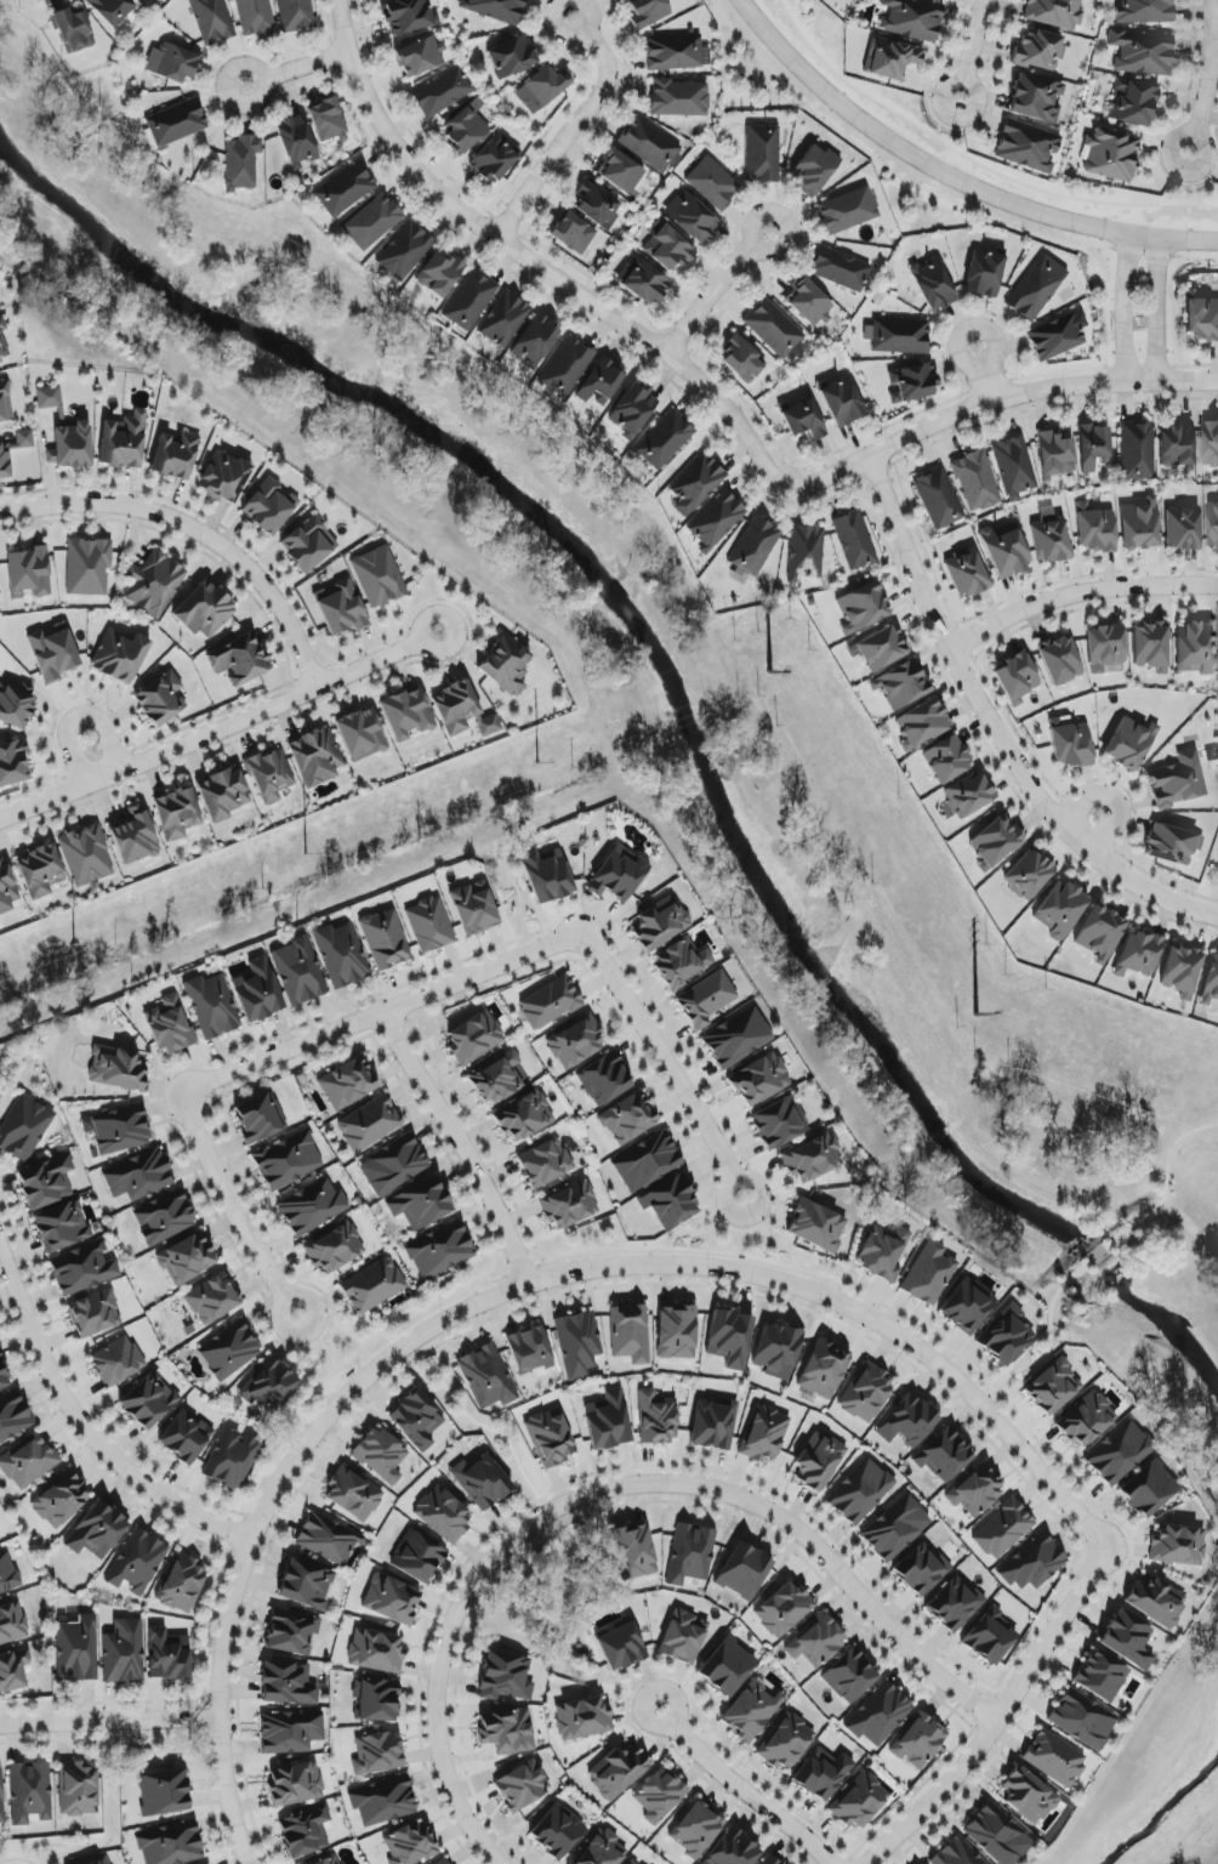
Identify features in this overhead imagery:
building: (943, 0)
building: (112, 10)
building: (497, 10)
building: (1144, 11)
building: (648, 12)
building: (1053, 13)
building: (295, 15)
building: (408, 16)
building: (255, 17)
building: (912, 18)
building: (211, 21)
building: (73, 29)
road: (974, 45)
building: (1037, 50)
building: (1143, 52)
building: (676, 53)
building: (420, 57)
building: (512, 57)
building: (890, 58)
building: (172, 62)
road: (297, 67)
road: (1207, 78)
building: (542, 89)
building: (442, 92)
building: (679, 98)
building: (1036, 98)
building: (1134, 103)
building: (328, 120)
building: (176, 123)
road: (571, 127)
building: (465, 129)
building: (296, 141)
building: (649, 144)
building: (1028, 146)
building: (762, 153)
building: (1110, 154)
building: (494, 158)
building: (241, 163)
building: (814, 170)
building: (620, 172)
road: (951, 177)
building: (713, 183)
building: (345, 189)
building: (596, 205)
building: (847, 211)
building: (693, 218)
building: (371, 222)
building: (573, 233)
building: (671, 249)
building: (404, 250)
road: (537, 263)
building: (839, 269)
building: (985, 273)
building: (438, 274)
building: (645, 283)
building: (933, 285)
building: (1037, 289)
road: (718, 290)
building: (468, 300)
building: (809, 303)
road: (1129, 312)
road: (1157, 312)
building: (1202, 319)
building: (774, 329)
building: (897, 336)
building: (1057, 337)
building: (535, 340)
building: (2, 342)
building: (742, 360)
road: (981, 375)
building: (911, 383)
building: (49, 397)
road: (998, 398)
building: (5, 403)
building: (842, 403)
building: (634, 413)
building: (803, 420)
building: (24, 439)
building: (123, 441)
building: (664, 441)
building: (1210, 444)
building: (73, 445)
building: (1177, 445)
building: (1093, 447)
building: (1137, 449)
building: (175, 455)
building: (1055, 455)
building: (5, 461)
building: (1014, 467)
building: (224, 478)
building: (975, 481)
building: (696, 485)
building: (938, 499)
building: (269, 506)
building: (717, 519)
building: (1212, 524)
building: (1140, 525)
building: (1183, 527)
road: (197, 530)
building: (1095, 530)
building: (854, 540)
building: (1051, 540)
building: (308, 545)
building: (755, 546)
building: (1004, 551)
building: (806, 552)
building: (87, 567)
building: (29, 572)
building: (967, 574)
building: (379, 576)
building: (153, 584)
road: (1078, 595)
building: (863, 608)
building: (205, 609)
building: (342, 609)
building: (1150, 646)
building: (881, 648)
building: (1104, 648)
building: (1194, 648)
building: (53, 654)
building: (119, 655)
building: (239, 660)
building: (1060, 660)
building: (506, 666)
power tower: (769, 675)
building: (1017, 676)
building: (901, 684)
building: (161, 699)
building: (15, 701)
building: (462, 711)
building: (406, 714)
road: (80, 718)
building: (922, 723)
road: (996, 728)
road: (217, 731)
building: (362, 734)
building: (1070, 744)
building: (1132, 744)
building: (315, 756)
building: (947, 760)
building: (13, 763)
power tower: (536, 768)
building: (271, 775)
building: (1178, 780)
building: (223, 792)
building: (968, 795)
road: (1112, 800)
building: (177, 813)
building: (135, 836)
building: (995, 842)
building: (1172, 845)
building: (86, 854)
power tower: (304, 858)
building: (40, 870)
building: (619, 874)
building: (546, 875)
building: (1028, 875)
building: (6, 888)
building: (473, 908)
building: (1060, 909)
building: (660, 922)
building: (429, 925)
building: (1100, 933)
building: (385, 939)
power tower: (74, 947)
building: (1138, 954)
building: (341, 955)
building: (681, 962)
building: (1182, 970)
building: (298, 972)
building: (1211, 983)
building: (257, 990)
building: (706, 1000)
building: (550, 1004)
building: (211, 1006)
road: (383, 1011)
power tower: (974, 1018)
building: (169, 1027)
building: (474, 1038)
building: (736, 1038)
building: (575, 1042)
road: (667, 1064)
building: (116, 1068)
building: (499, 1079)
building: (604, 1080)
building: (758, 1080)
building: (347, 1084)
building: (524, 1116)
building: (260, 1118)
building: (628, 1119)
building: (779, 1123)
building: (369, 1124)
building: (23, 1127)
building: (120, 1130)
road: (462, 1143)
building: (812, 1158)
building: (288, 1160)
building: (647, 1161)
building: (545, 1163)
building: (393, 1165)
building: (138, 1176)
building: (45, 1181)
road: (241, 1201)
building: (670, 1203)
building: (420, 1204)
building: (569, 1205)
building: (312, 1207)
building: (164, 1217)
building: (62, 1226)
building: (816, 1226)
road: (711, 1231)
building: (334, 1248)
building: (439, 1251)
building: (883, 1252)
building: (186, 1258)
building: (82, 1268)
building: (928, 1274)
building: (372, 1286)
road: (507, 1290)
building: (212, 1298)
building: (967, 1306)
building: (95, 1313)
building: (676, 1332)
building: (630, 1334)
building: (1004, 1336)
building: (729, 1337)
building: (577, 1342)
building: (229, 1351)
building: (529, 1351)
building: (778, 1351)
building: (116, 1362)
building: (823, 1369)
building: (2, 1377)
building: (486, 1377)
building: (268, 1386)
building: (1053, 1387)
building: (865, 1393)
building: (148, 1400)
building: (13, 1416)
building: (656, 1419)
building: (417, 1420)
building: (1086, 1420)
building: (608, 1421)
building: (907, 1422)
building: (715, 1423)
road: (82, 1425)
road: (479, 1426)
building: (764, 1434)
building: (186, 1437)
building: (551, 1437)
building: (1119, 1453)
building: (381, 1455)
building: (944, 1455)
building: (232, 1459)
building: (28, 1461)
building: (818, 1461)
building: (482, 1482)
road: (608, 1488)
building: (1148, 1489)
building: (861, 1491)
building: (975, 1491)
building: (353, 1494)
building: (59, 1500)
road: (610, 1507)
road: (718, 1508)
building: (443, 1514)
building: (894, 1528)
building: (1003, 1530)
building: (97, 1531)
building: (328, 1538)
building: (1178, 1545)
building: (633, 1552)
building: (690, 1553)
building: (417, 1558)
building: (137, 1562)
building: (1032, 1564)
building: (921, 1570)
building: (7, 1573)
building: (744, 1573)
building: (181, 1582)
building: (306, 1584)
building: (391, 1599)
building: (1156, 1601)
building: (955, 1604)
building: (782, 1609)
building: (12, 1623)
building: (291, 1632)
building: (683, 1637)
building: (990, 1637)
building: (1129, 1641)
building: (816, 1642)
building: (621, 1647)
building: (76, 1649)
building: (123, 1652)
building: (375, 1652)
building: (167, 1655)
road: (460, 1659)
building: (727, 1667)
building: (13, 1670)
road: (573, 1672)
building: (849, 1676)
building: (1102, 1676)
building: (506, 1677)
building: (286, 1683)
building: (377, 1700)
building: (751, 1711)
road: (1002, 1712)
building: (880, 1716)
building: (581, 1718)
building: (1082, 1718)
road: (109, 1720)
building: (507, 1731)
building: (290, 1732)
building: (785, 1741)
building: (918, 1741)
building: (377, 1754)
building: (1054, 1758)
building: (616, 1772)
building: (823, 1774)
building: (295, 1784)
building: (522, 1785)
road: (747, 1786)
building: (76, 1789)
road: (916, 1790)
building: (29, 1792)
building: (163, 1792)
building: (659, 1796)
building: (1026, 1796)
building: (1, 1798)
building: (382, 1801)
building: (859, 1801)
building: (695, 1829)
building: (304, 1831)
building: (557, 1831)
building: (998, 1835)
building: (169, 1843)
building: (409, 1843)
building: (602, 1847)
building: (733, 1849)
building: (103, 1862)
building: (332, 1862)
building: (632, 1862)
building: (770, 1862)
building: (445, 1863)
building: (588, 1863)
building: (956, 1863)

